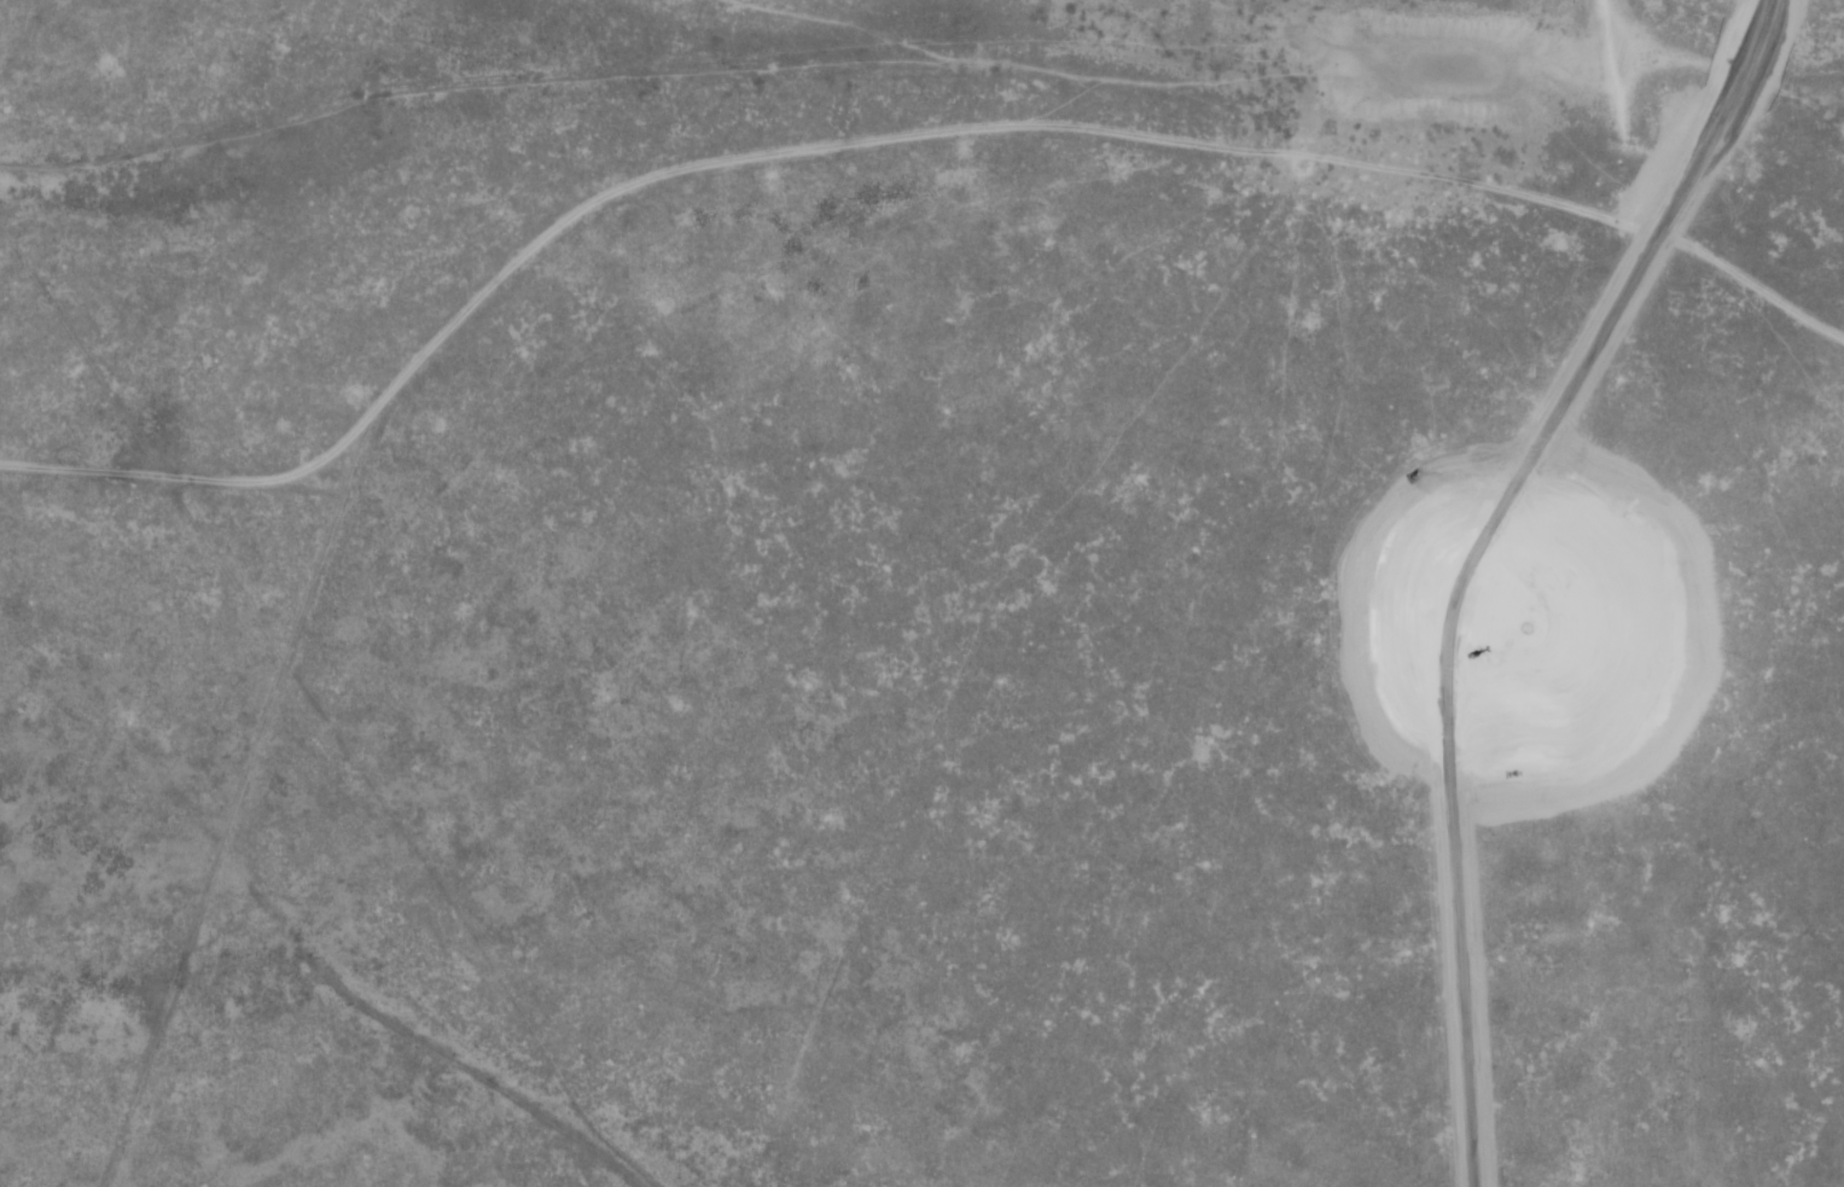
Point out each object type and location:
road: (623, 136)
road: (99, 440)
wind turbine: (1519, 636)

